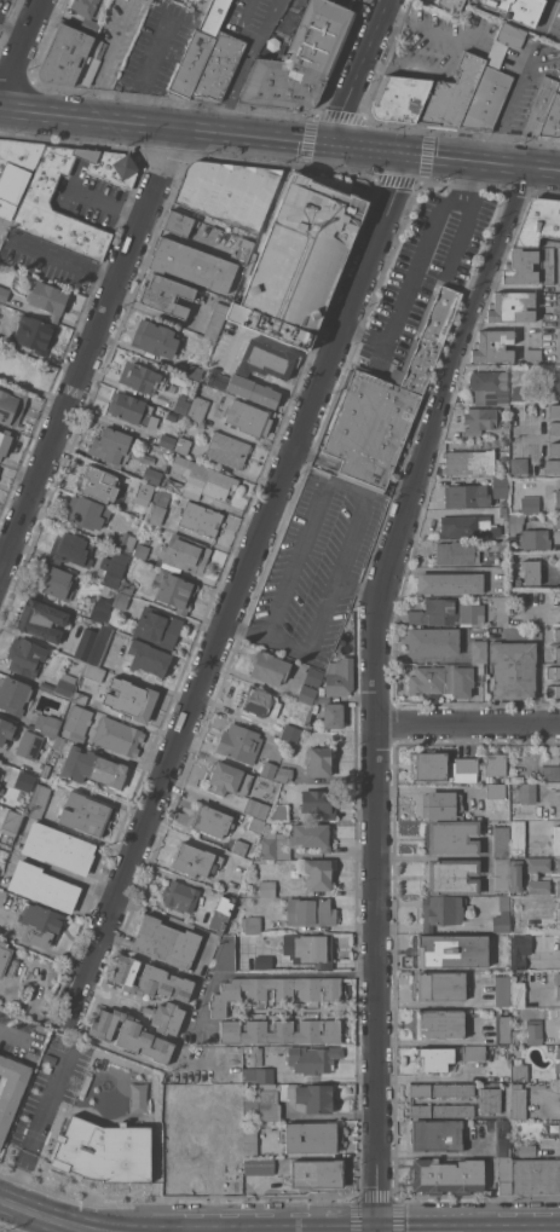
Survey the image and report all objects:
road: (382, 2)
building: (451, 4)
building: (519, 10)
building: (86, 13)
road: (12, 25)
building: (510, 35)
road: (19, 45)
building: (198, 48)
building: (64, 56)
road: (451, 59)
building: (299, 60)
road: (243, 65)
building: (218, 66)
road: (357, 71)
road: (146, 73)
building: (428, 96)
building: (486, 99)
road: (508, 100)
building: (539, 106)
building: (552, 118)
road: (91, 135)
road: (279, 139)
traffic signals: (328, 145)
road: (82, 154)
traffic signals: (409, 155)
building: (16, 170)
building: (229, 192)
road: (88, 196)
building: (35, 204)
building: (178, 222)
building: (538, 222)
road: (458, 236)
building: (552, 243)
building: (243, 248)
road: (65, 259)
building: (299, 260)
building: (192, 264)
building: (548, 265)
road: (415, 266)
building: (520, 266)
building: (4, 293)
building: (164, 294)
building: (47, 299)
building: (512, 306)
building: (215, 319)
building: (34, 334)
building: (155, 339)
building: (492, 346)
road: (90, 353)
building: (532, 353)
building: (266, 359)
building: (194, 371)
building: (139, 377)
building: (556, 381)
building: (244, 387)
building: (490, 387)
building: (524, 392)
building: (181, 404)
building: (386, 404)
building: (11, 405)
building: (198, 407)
building: (132, 409)
building: (554, 410)
building: (248, 418)
building: (481, 420)
building: (554, 428)
building: (167, 440)
building: (5, 441)
building: (502, 441)
building: (183, 444)
building: (111, 445)
building: (227, 449)
building: (555, 449)
building: (469, 462)
building: (518, 464)
building: (553, 465)
building: (152, 475)
building: (203, 479)
building: (98, 484)
building: (500, 486)
building: (145, 491)
building: (467, 494)
building: (558, 498)
building: (530, 502)
building: (158, 505)
building: (503, 510)
road: (313, 511)
building: (85, 513)
road: (357, 516)
building: (535, 516)
building: (201, 519)
building: (556, 521)
building: (467, 525)
building: (527, 533)
building: (126, 542)
building: (71, 550)
building: (140, 550)
building: (458, 553)
building: (184, 554)
building: (531, 571)
building: (112, 572)
building: (57, 582)
road: (239, 583)
building: (450, 583)
building: (127, 586)
road: (358, 586)
building: (173, 590)
building: (111, 591)
road: (283, 594)
building: (559, 595)
building: (121, 600)
building: (100, 608)
building: (501, 608)
building: (446, 612)
road: (321, 615)
building: (41, 620)
building: (157, 627)
building: (556, 634)
road: (264, 638)
building: (433, 641)
building: (85, 643)
building: (100, 644)
building: (479, 650)
building: (556, 652)
building: (25, 655)
building: (148, 658)
building: (270, 667)
building: (82, 669)
building: (513, 669)
building: (93, 671)
building: (553, 672)
building: (313, 676)
building: (340, 677)
building: (427, 679)
building: (462, 681)
road: (261, 682)
building: (65, 686)
building: (46, 687)
road: (379, 687)
building: (553, 690)
building: (307, 694)
building: (15, 695)
building: (80, 698)
building: (131, 699)
building: (258, 701)
building: (333, 715)
building: (76, 723)
building: (47, 724)
road: (469, 724)
building: (6, 730)
building: (290, 733)
building: (119, 736)
building: (239, 742)
building: (29, 745)
building: (318, 762)
building: (495, 763)
building: (559, 763)
building: (88, 764)
building: (428, 765)
building: (267, 769)
building: (463, 769)
building: (46, 770)
building: (549, 773)
building: (284, 774)
building: (229, 779)
building: (24, 781)
building: (496, 791)
building: (527, 792)
building: (37, 800)
building: (441, 802)
building: (318, 803)
building: (256, 808)
building: (278, 812)
building: (85, 814)
building: (210, 821)
building: (255, 825)
building: (10, 826)
building: (452, 838)
building: (518, 838)
building: (556, 839)
building: (295, 840)
building: (501, 840)
building: (58, 848)
building: (239, 848)
building: (195, 861)
building: (542, 863)
building: (317, 873)
building: (501, 873)
building: (452, 875)
building: (516, 875)
building: (42, 886)
building: (558, 886)
building: (267, 887)
building: (538, 887)
building: (2, 896)
building: (180, 896)
building: (440, 910)
building: (310, 912)
building: (559, 912)
building: (221, 913)
building: (501, 918)
building: (40, 925)
building: (252, 925)
building: (166, 942)
building: (559, 942)
building: (308, 949)
building: (451, 949)
building: (519, 950)
building: (224, 954)
building: (6, 960)
building: (262, 961)
road: (267, 973)
building: (150, 979)
building: (440, 985)
building: (558, 985)
building: (276, 990)
building: (502, 990)
building: (518, 991)
building: (260, 1010)
building: (310, 1010)
building: (166, 1017)
building: (439, 1024)
building: (502, 1029)
road: (12, 1031)
building: (281, 1031)
building: (533, 1031)
building: (129, 1034)
building: (514, 1036)
building: (474, 1052)
building: (558, 1052)
building: (254, 1053)
building: (312, 1058)
building: (434, 1058)
building: (558, 1068)
building: (519, 1070)
building: (154, 1072)
building: (227, 1074)
building: (258, 1074)
road: (427, 1078)
building: (235, 1087)
building: (11, 1089)
building: (420, 1089)
building: (454, 1089)
building: (190, 1094)
building: (311, 1097)
building: (489, 1100)
building: (518, 1101)
building: (259, 1103)
road: (47, 1104)
building: (452, 1110)
building: (420, 1111)
building: (109, 1118)
building: (559, 1129)
building: (435, 1135)
building: (312, 1136)
building: (502, 1138)
building: (249, 1141)
building: (527, 1150)
building: (189, 1156)
building: (259, 1166)
building: (316, 1173)
building: (504, 1174)
building: (446, 1175)
building: (536, 1175)
road: (47, 1217)

